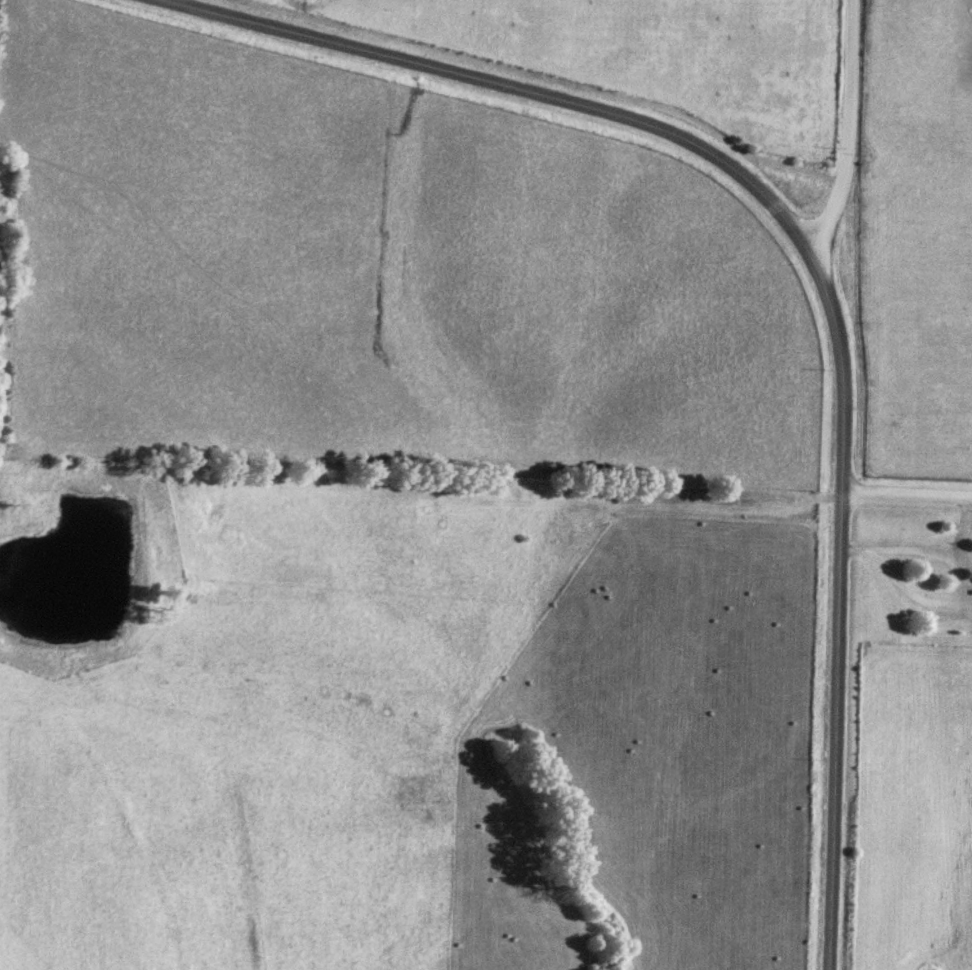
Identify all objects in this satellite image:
road: (851, 131)
road: (805, 249)
road: (908, 500)
road: (961, 534)
road: (957, 584)

